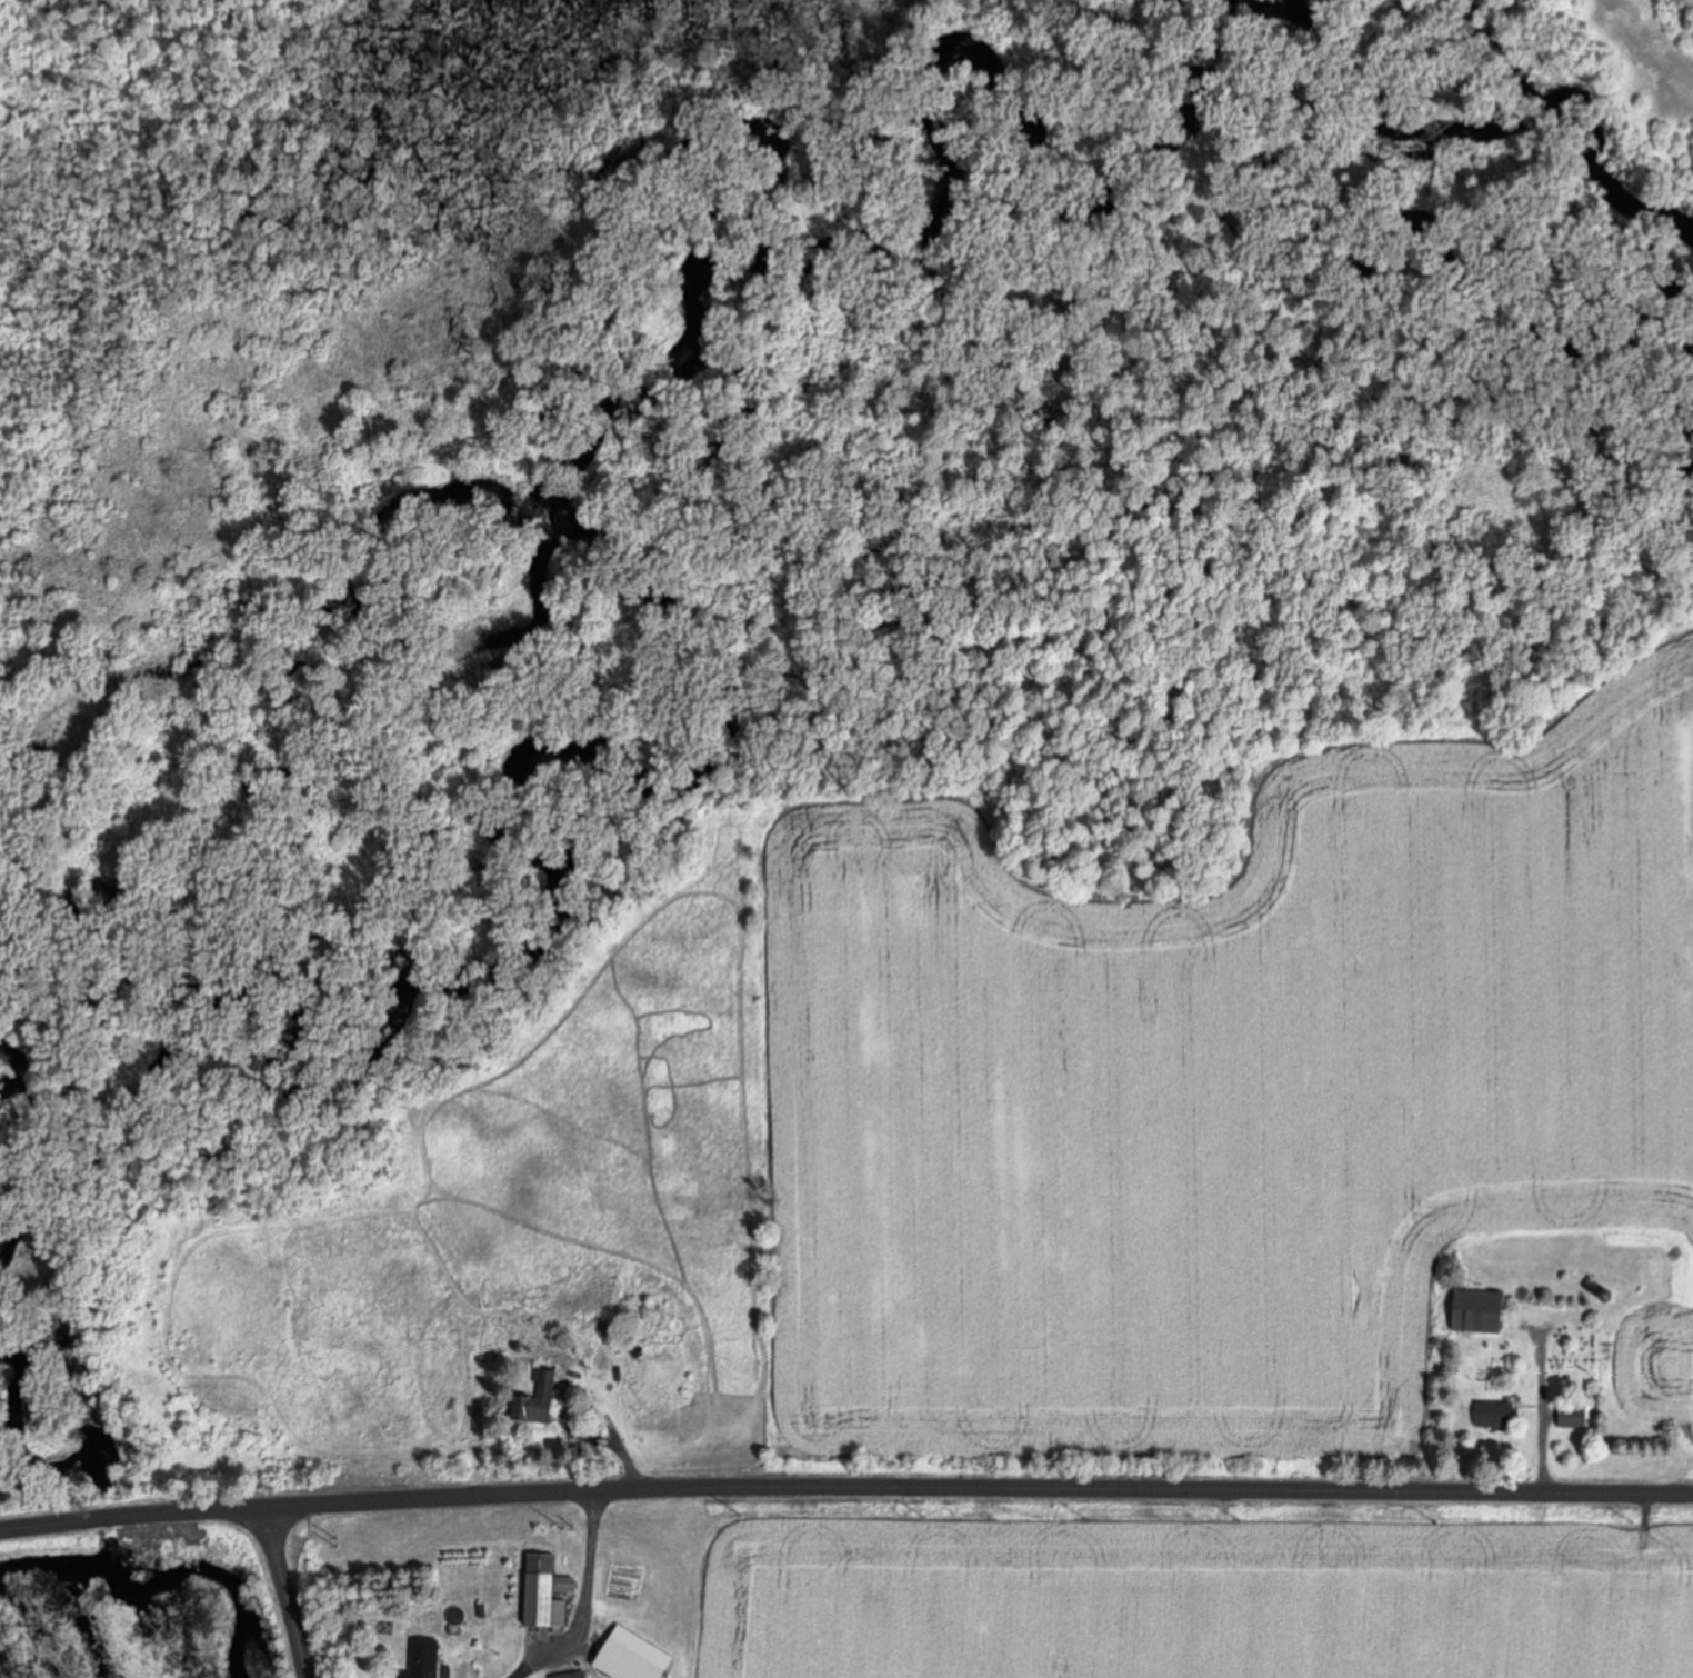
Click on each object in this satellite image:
building: (1484, 1308)
building: (542, 1397)
building: (1500, 1412)
building: (1576, 1414)
road: (845, 1478)
road: (293, 1582)
building: (550, 1588)
building: (428, 1657)
building: (633, 1661)
building: (575, 1674)

